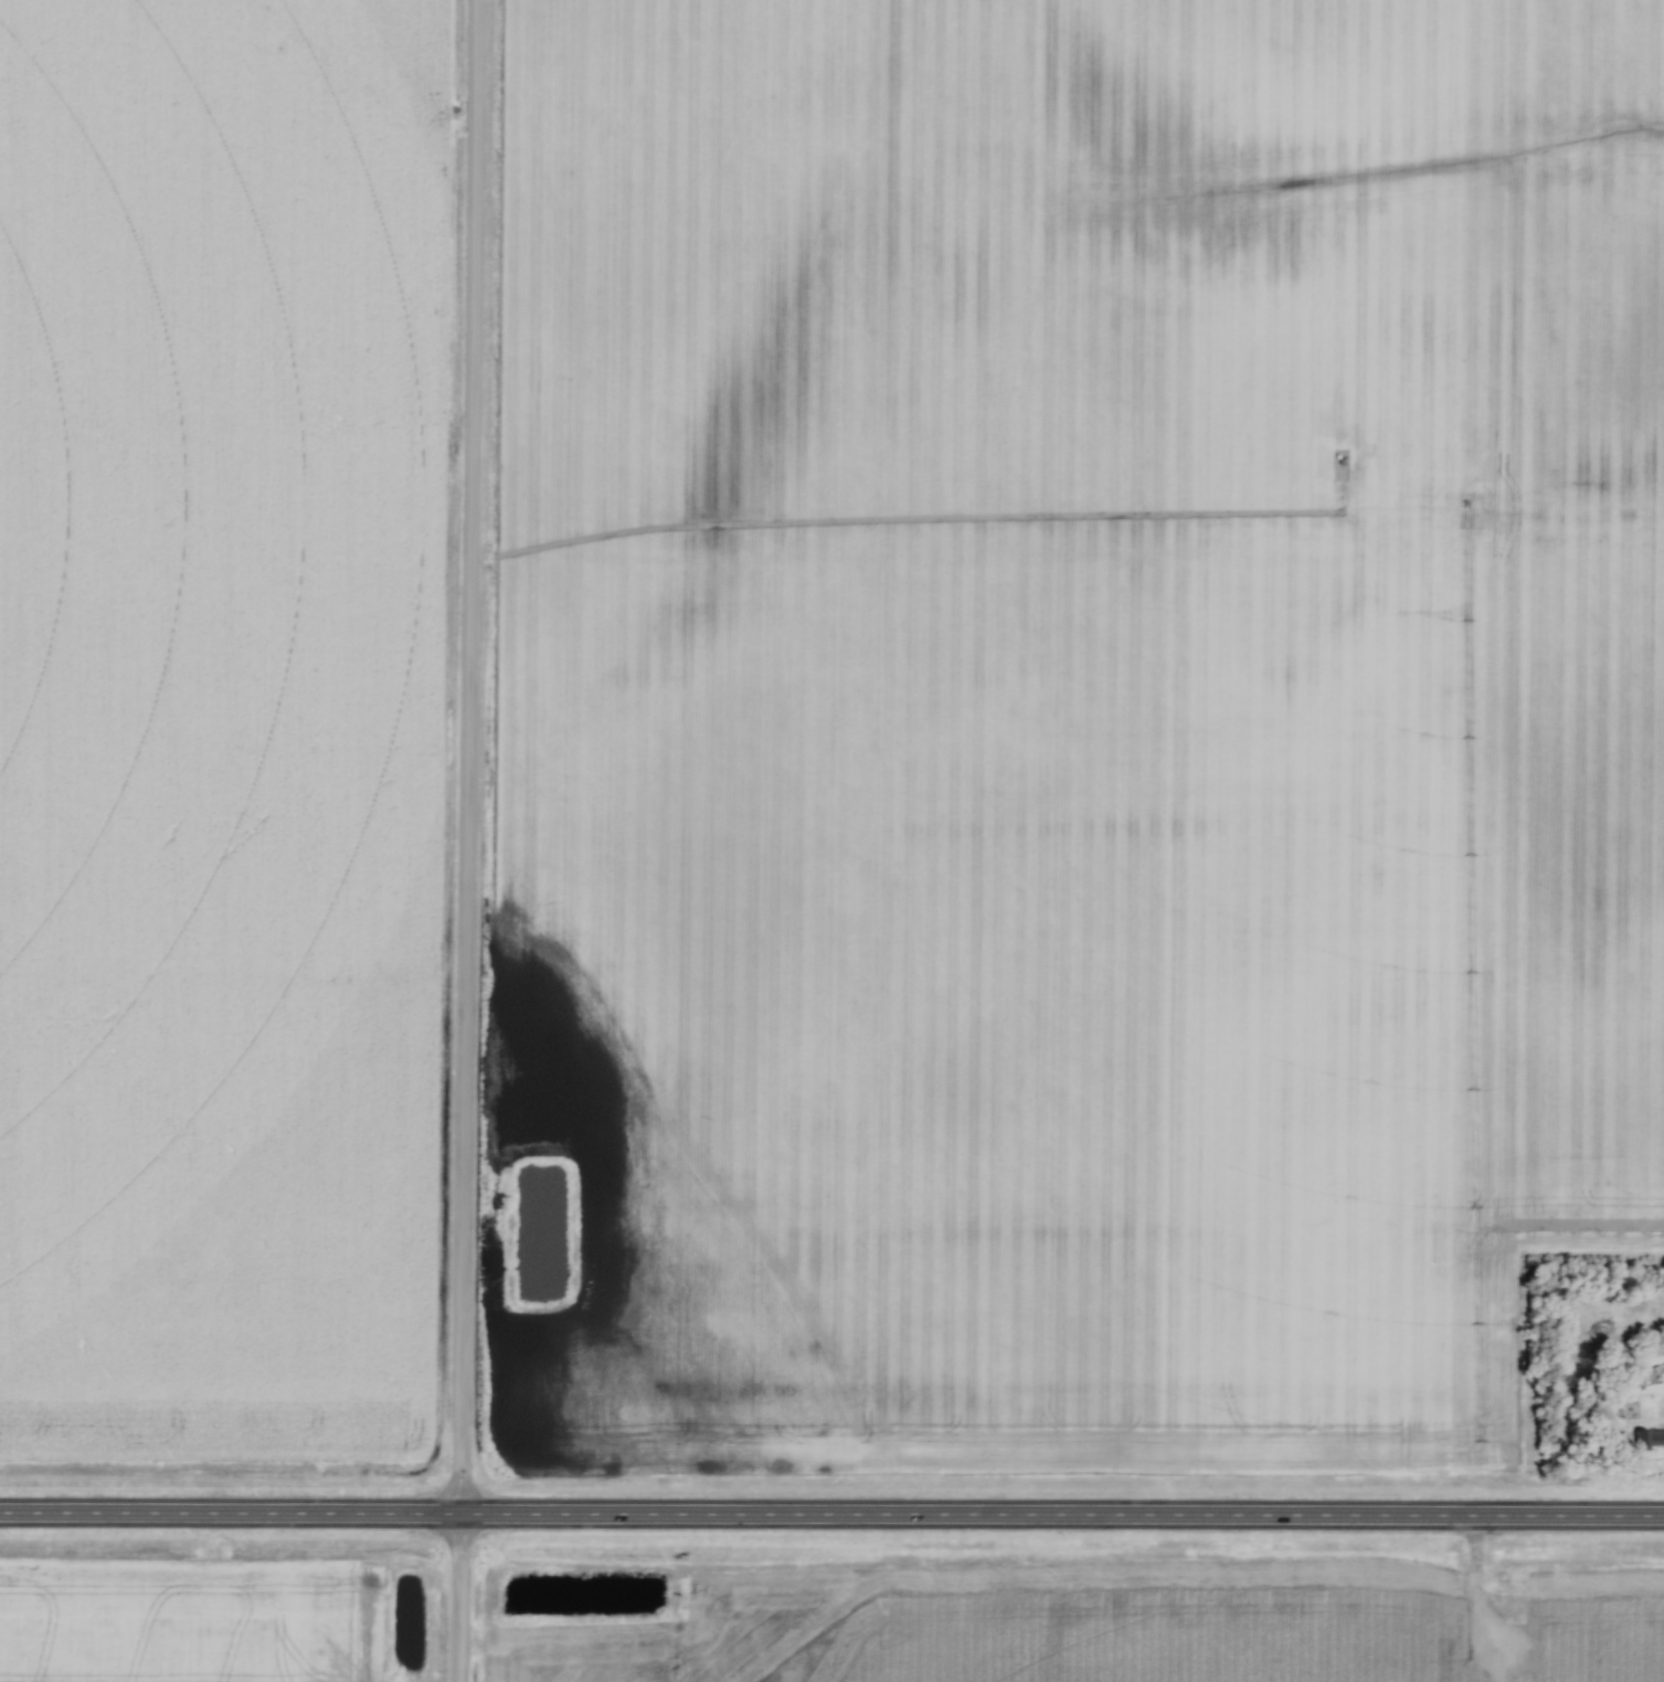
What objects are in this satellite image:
road: (466, 840)
building: (1647, 1439)
road: (831, 1519)

